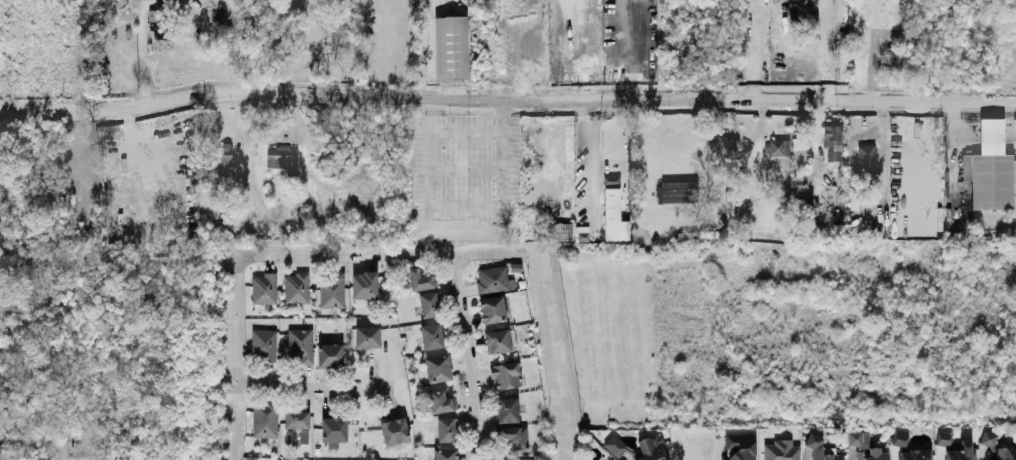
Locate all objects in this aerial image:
building: (155, 14)
building: (451, 47)
building: (893, 57)
road: (471, 97)
road: (980, 103)
road: (955, 114)
road: (985, 133)
building: (832, 142)
building: (775, 146)
building: (799, 149)
building: (866, 156)
building: (222, 158)
building: (282, 158)
road: (591, 158)
building: (989, 179)
building: (676, 191)
building: (613, 211)
building: (562, 230)
road: (384, 250)
building: (419, 279)
building: (493, 279)
building: (364, 284)
building: (296, 287)
building: (264, 288)
building: (331, 289)
building: (428, 303)
building: (492, 309)
building: (431, 335)
building: (367, 336)
building: (499, 340)
building: (263, 344)
building: (300, 345)
building: (330, 354)
road: (467, 354)
road: (551, 354)
road: (238, 359)
building: (438, 368)
building: (505, 374)
road: (312, 385)
building: (441, 401)
building: (507, 409)
building: (265, 418)
building: (296, 418)
building: (446, 429)
building: (334, 430)
building: (394, 430)
building: (303, 435)
building: (513, 437)
building: (944, 437)
building: (900, 438)
building: (615, 445)
building: (739, 446)
building: (865, 447)
building: (996, 447)
building: (651, 448)
building: (820, 448)
building: (781, 450)
building: (962, 451)
building: (445, 454)
building: (915, 454)
building: (517, 458)

